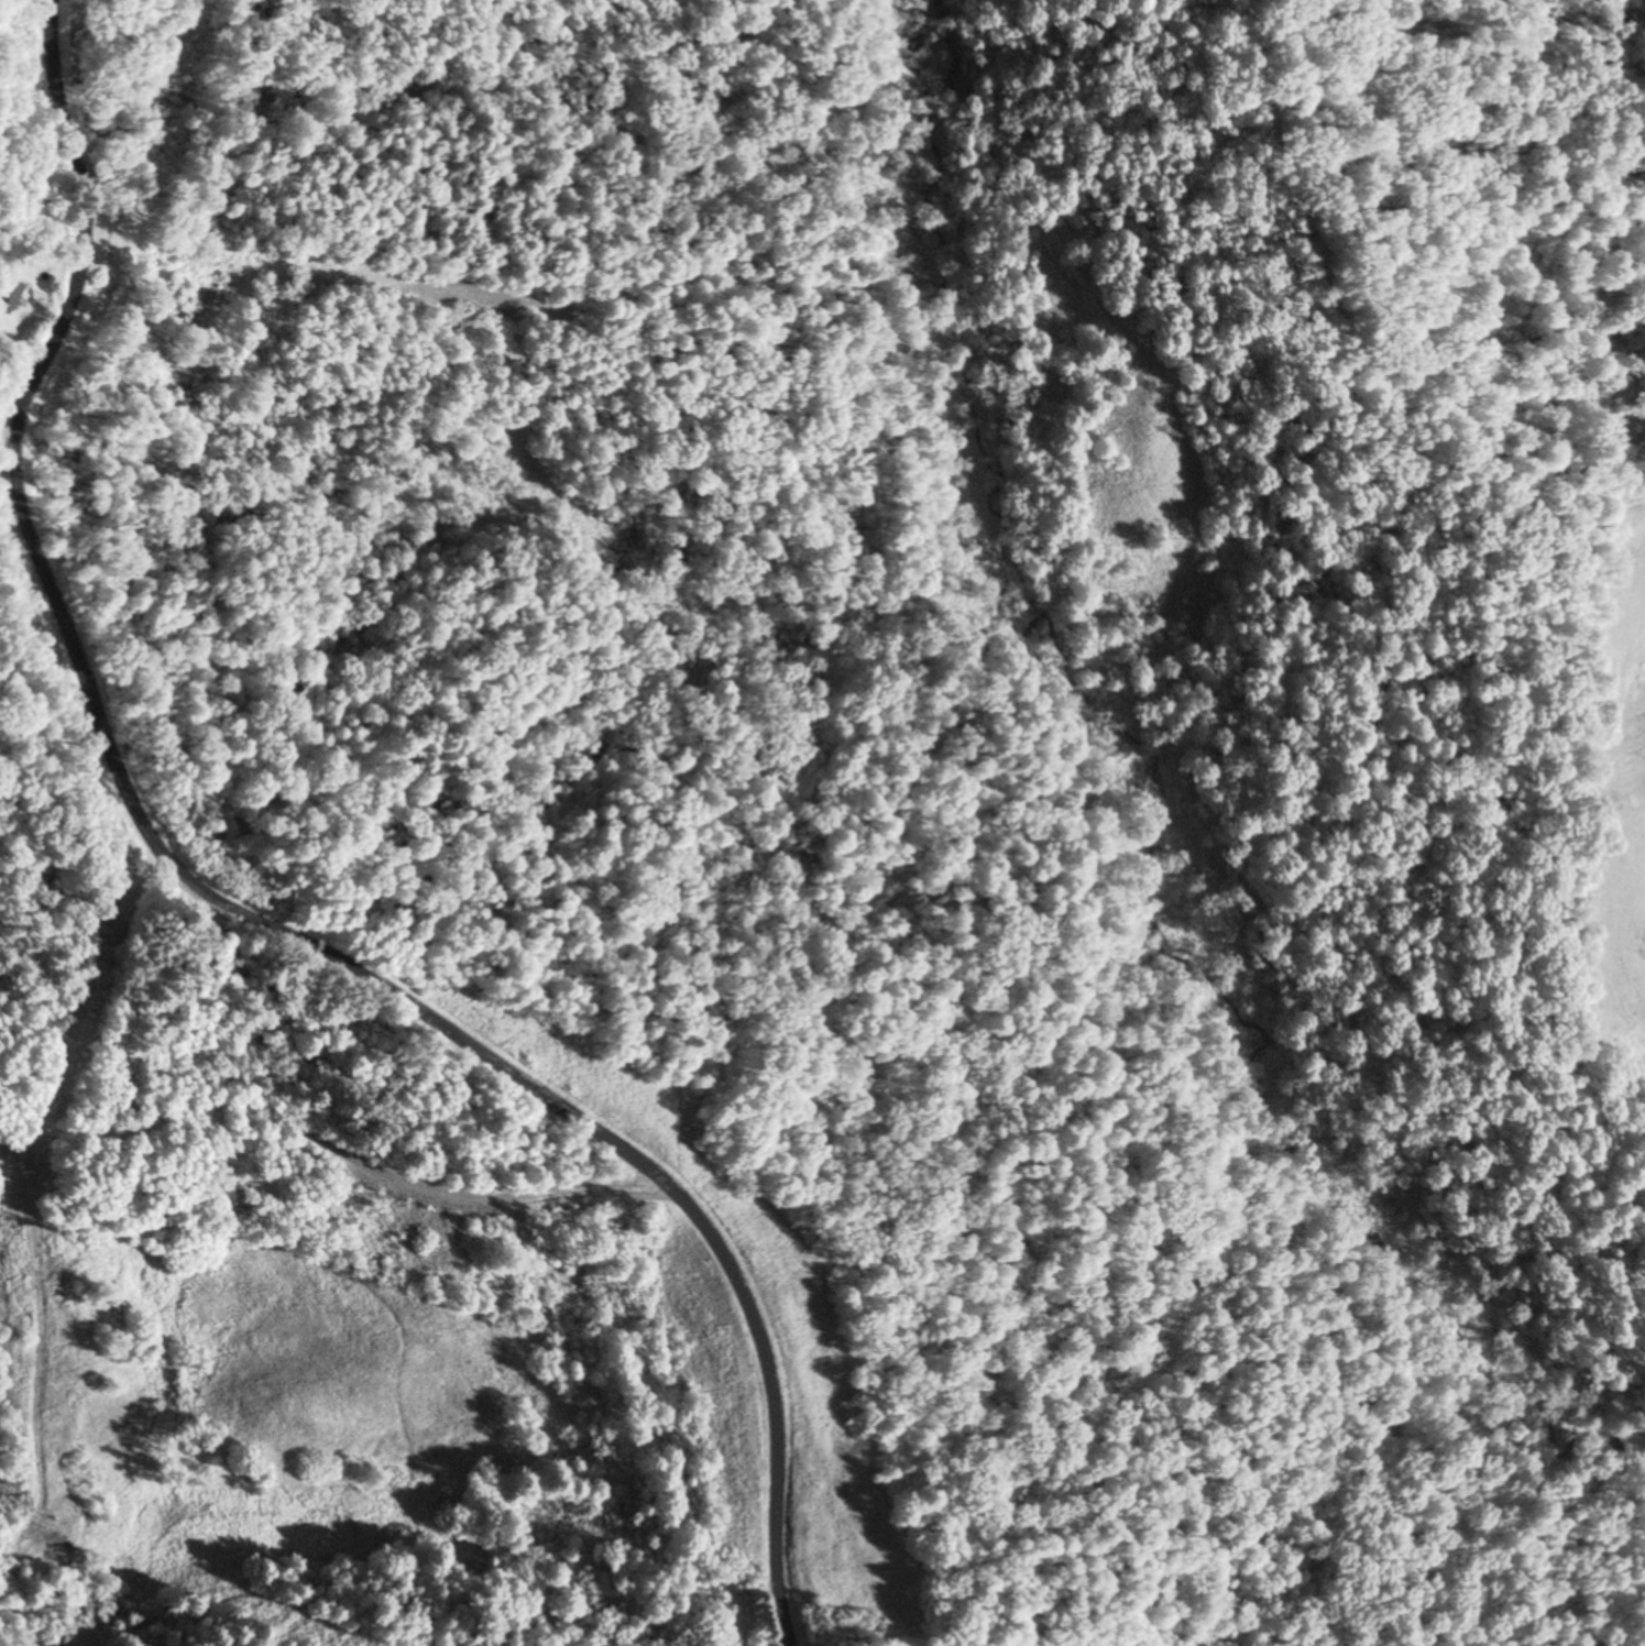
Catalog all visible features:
road: (50, 252)
building: (4, 293)
road: (461, 1049)
road: (331, 1157)
building: (47, 1246)

